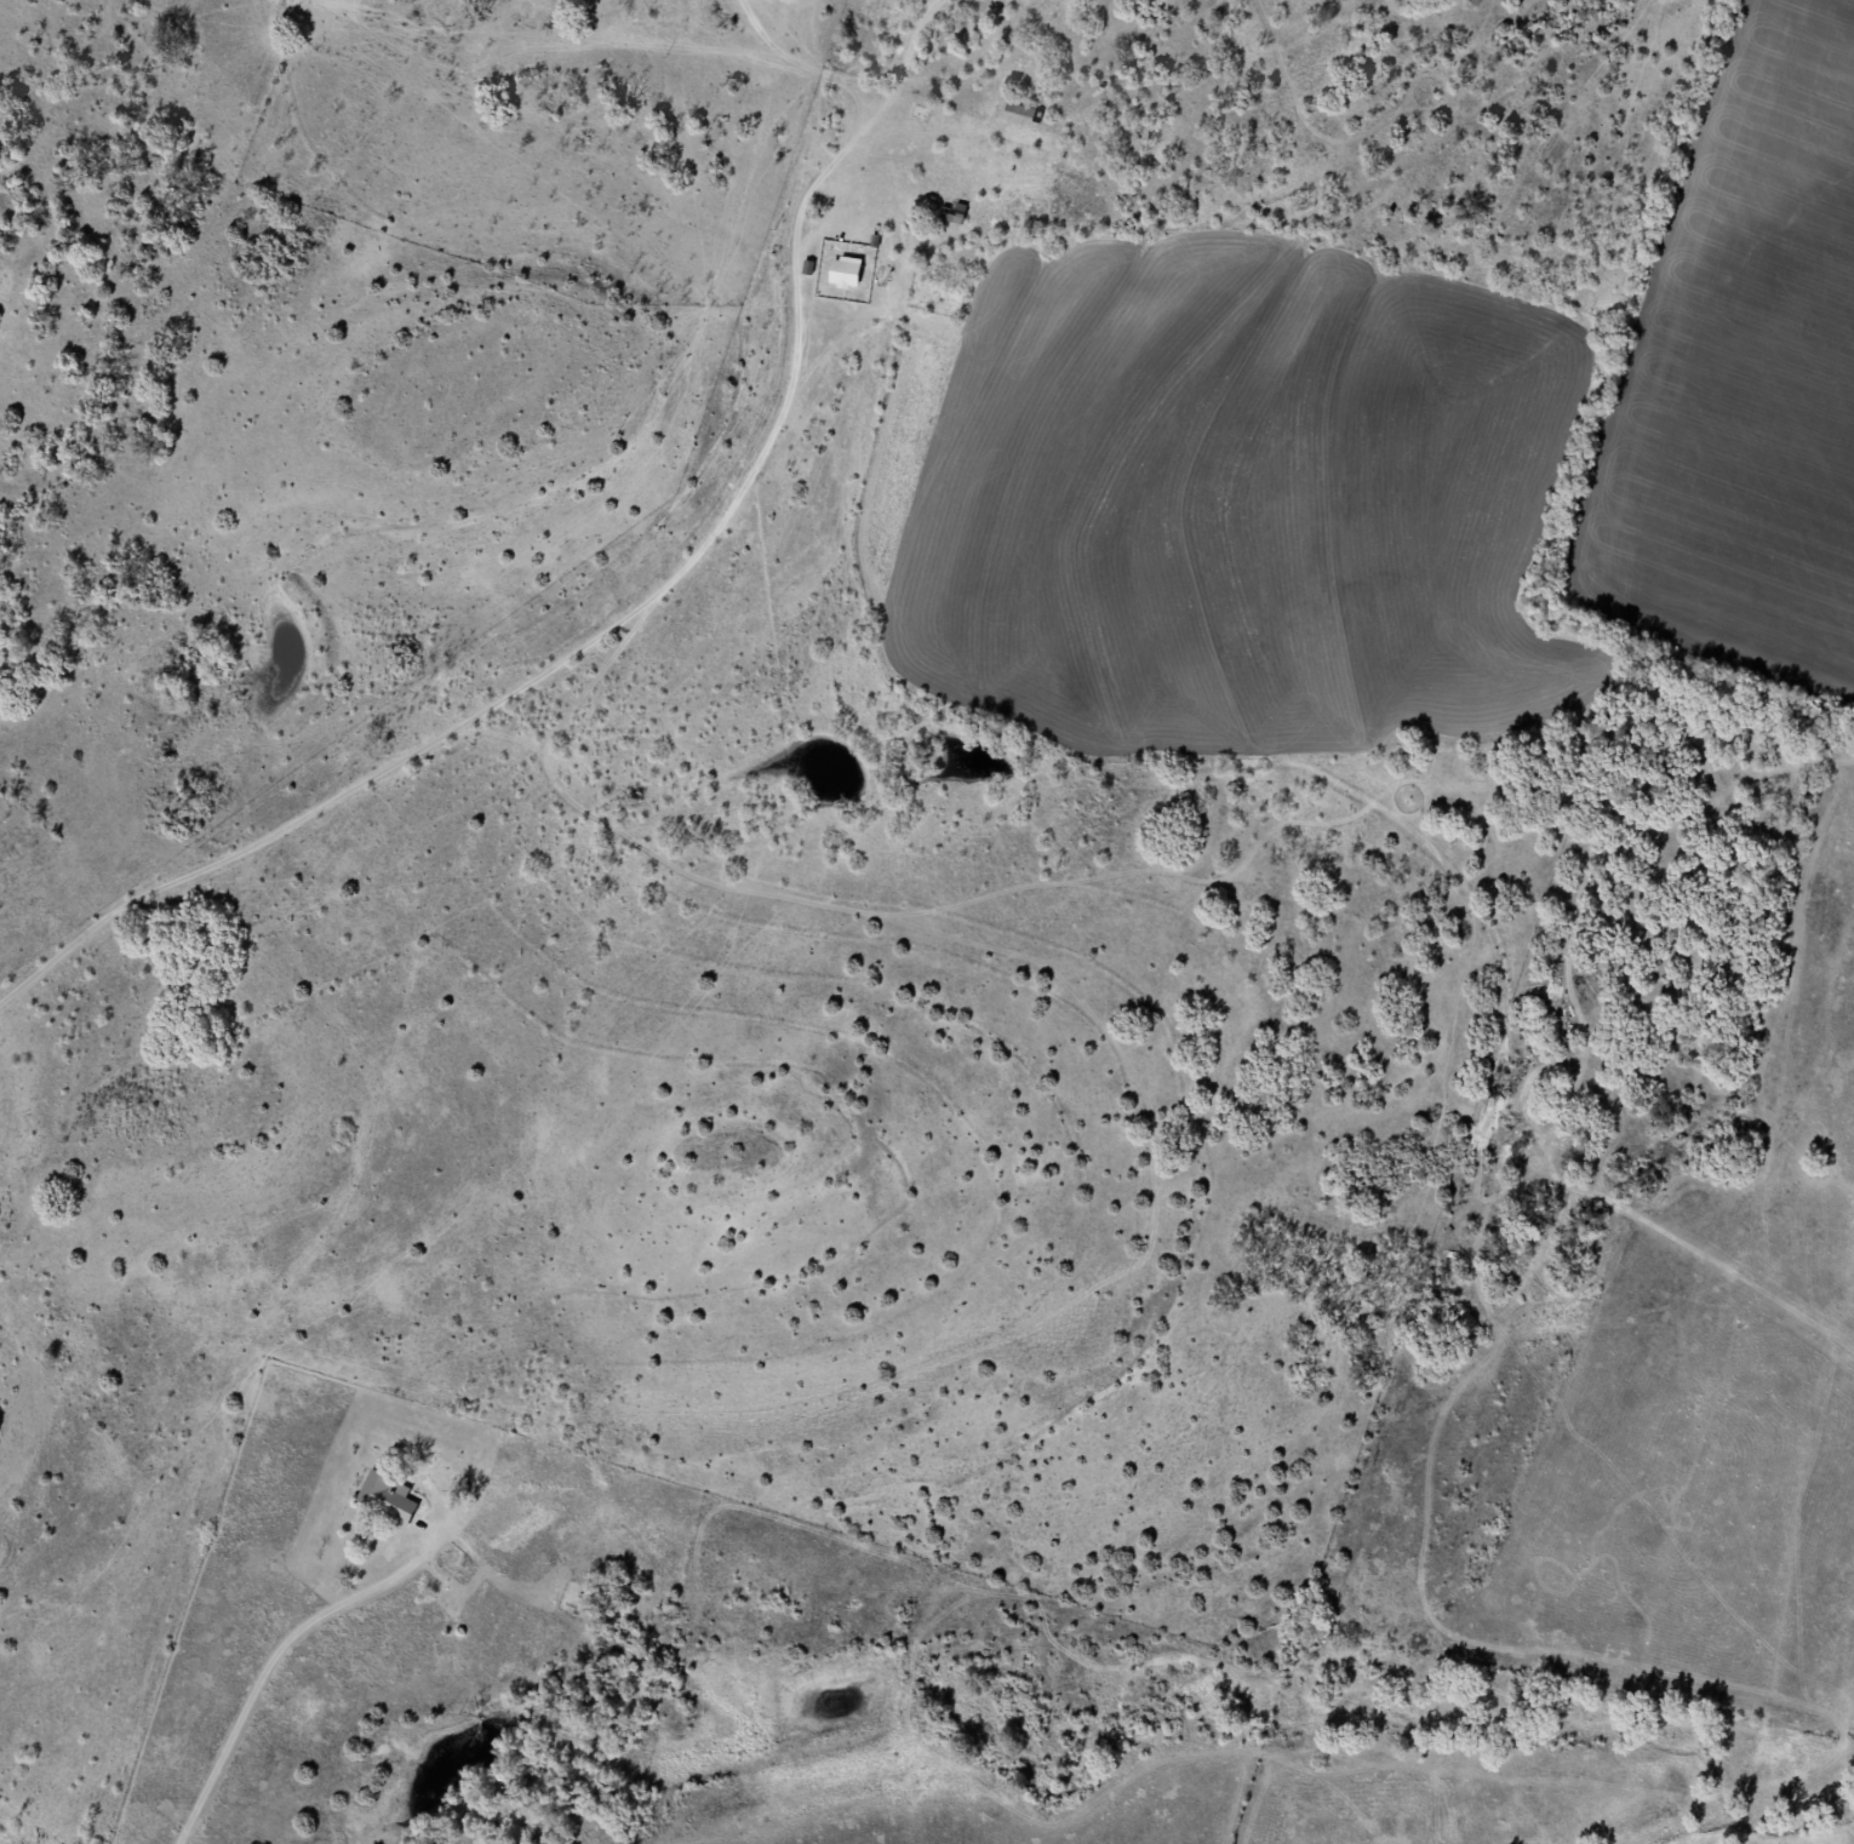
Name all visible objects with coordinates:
building: (847, 271)
road: (559, 734)
building: (389, 1499)
road: (271, 1656)

